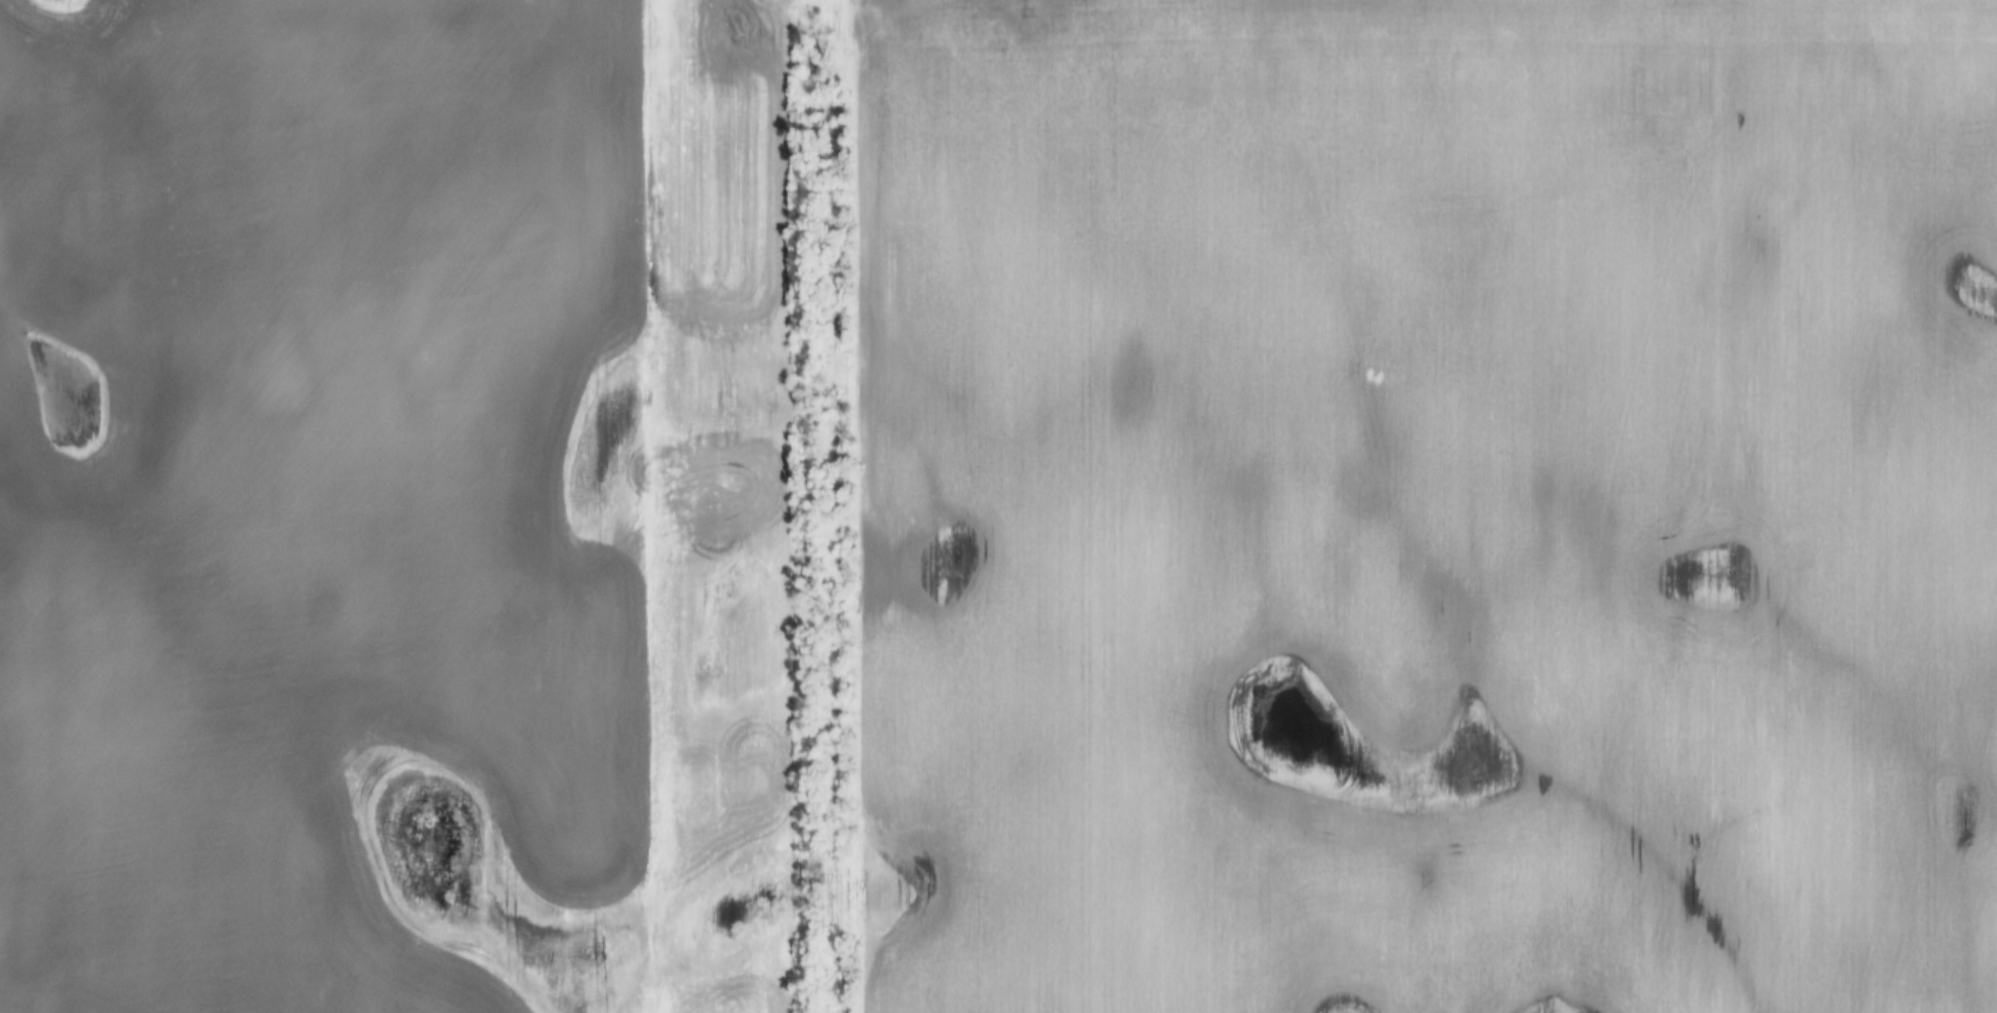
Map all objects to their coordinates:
road: (651, 506)

